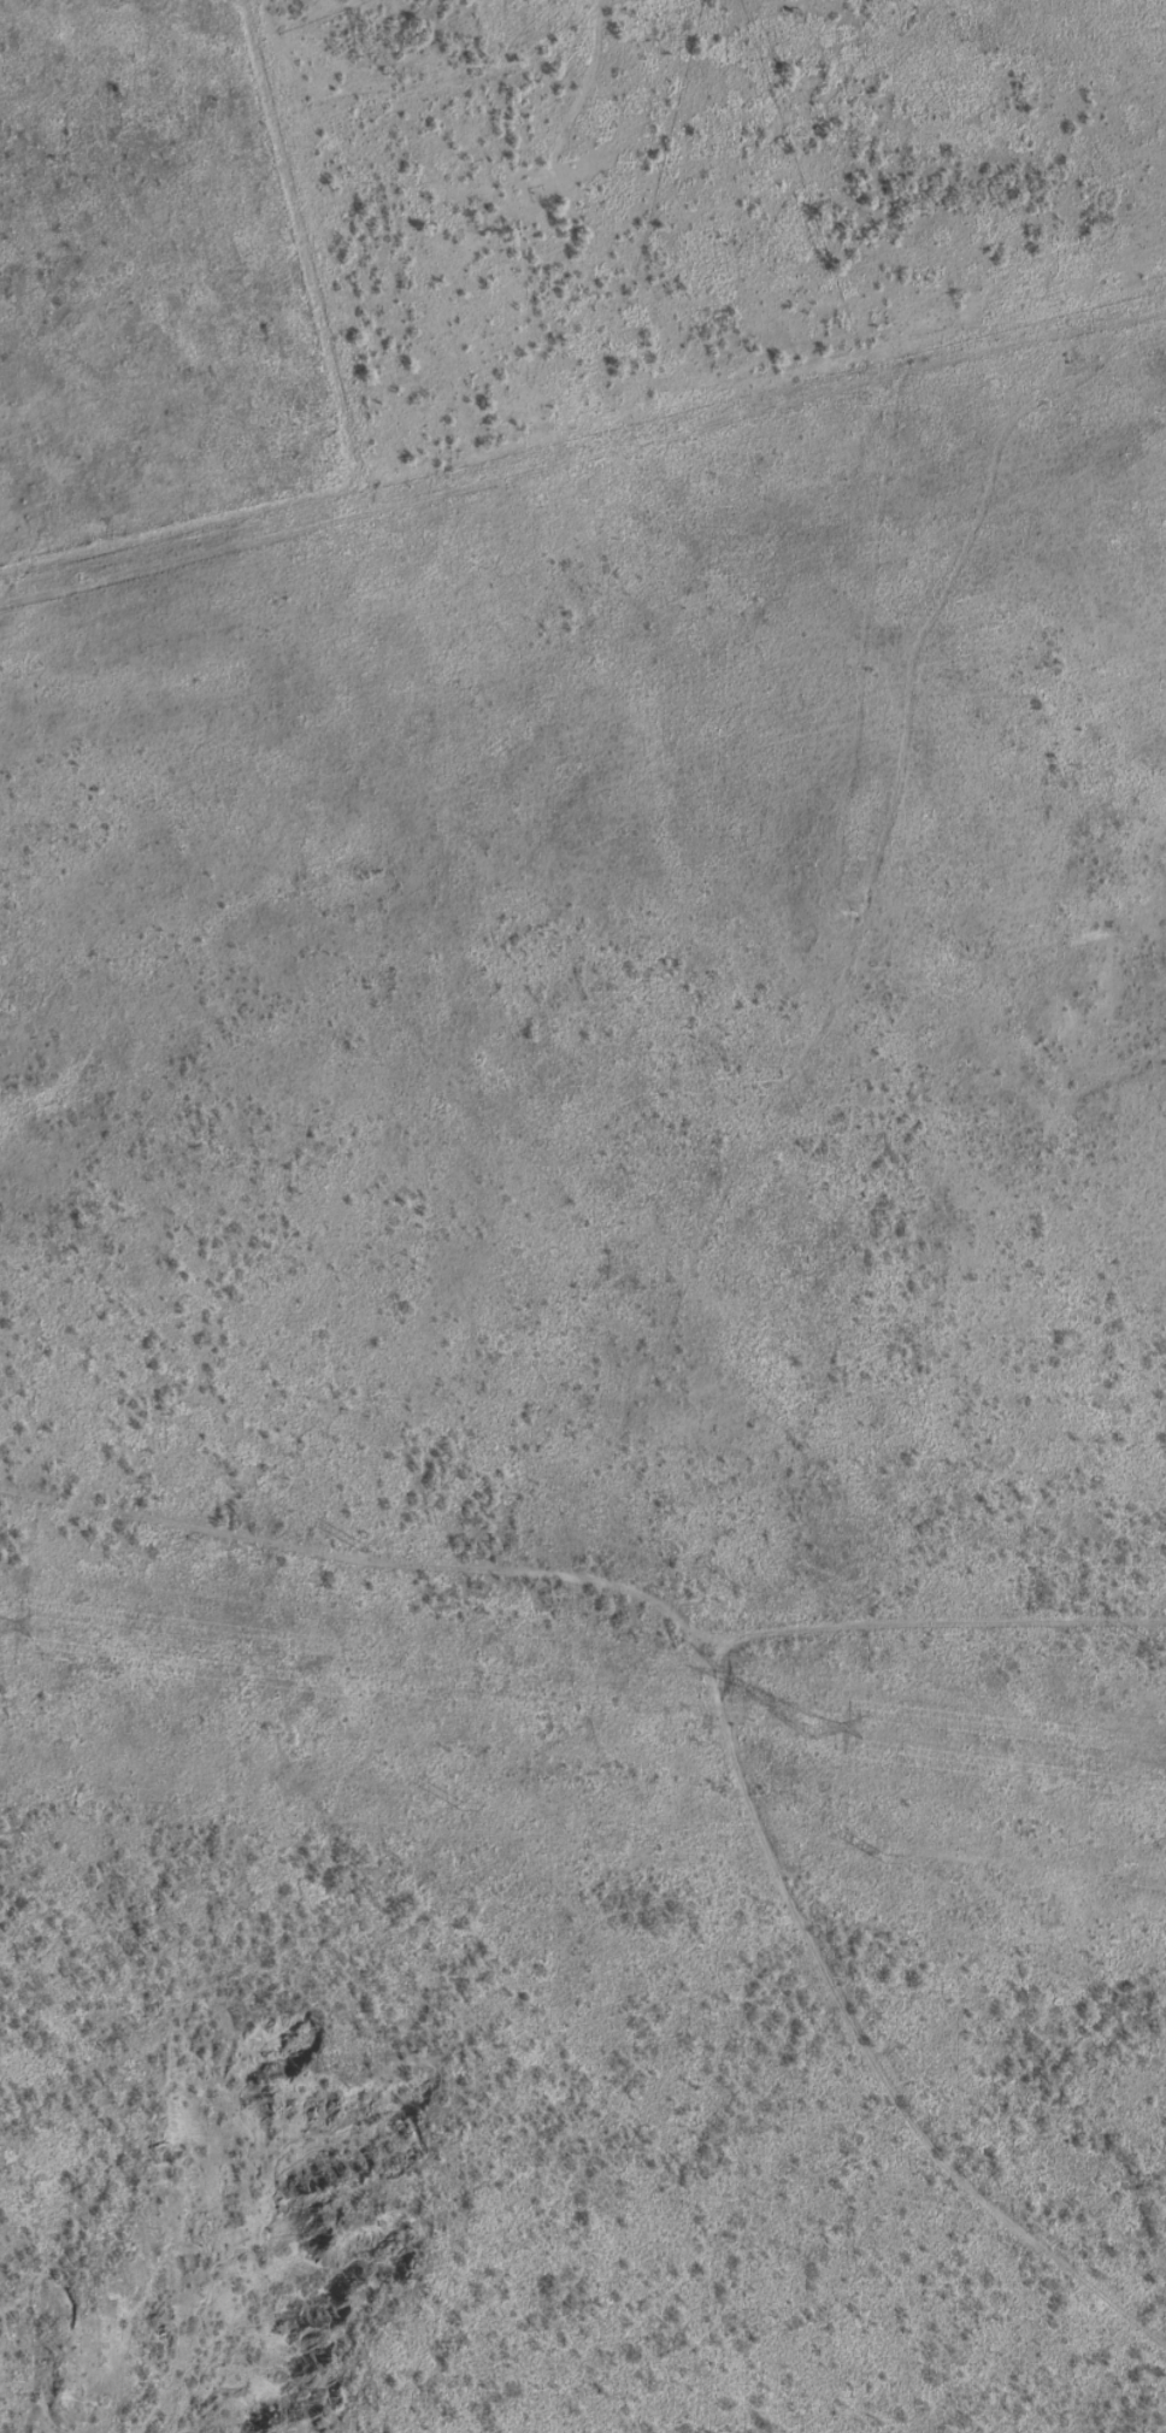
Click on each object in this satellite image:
power tower: (361, 1548)
power tower: (747, 1597)
power tower: (1152, 1647)
road: (729, 1711)
power tower: (790, 1726)
power tower: (460, 1809)
power tower: (889, 1862)

